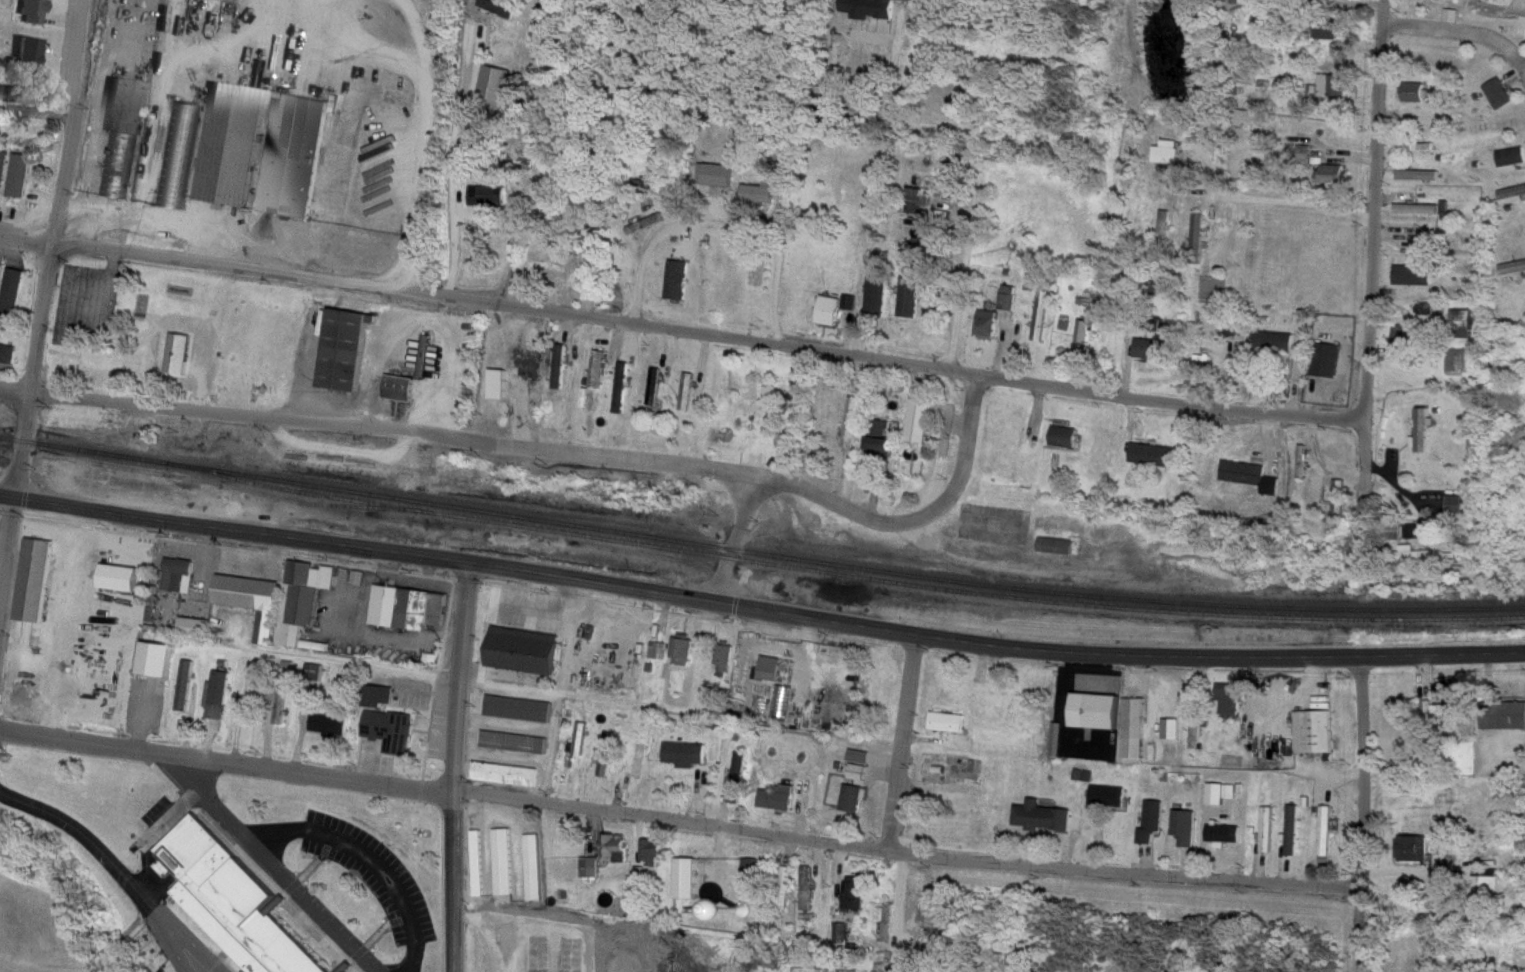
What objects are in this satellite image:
building: (39, 11)
road: (1462, 18)
building: (493, 30)
building: (243, 40)
building: (36, 52)
building: (1334, 85)
building: (835, 86)
building: (1419, 93)
building: (1500, 94)
building: (31, 96)
building: (1203, 122)
building: (124, 135)
road: (978, 145)
building: (1417, 148)
building: (180, 156)
building: (1165, 156)
road: (455, 158)
building: (1510, 158)
road: (1208, 159)
building: (295, 173)
building: (2, 175)
building: (1336, 175)
building: (20, 176)
building: (1420, 176)
road: (1211, 187)
road: (1292, 191)
building: (1511, 193)
building: (757, 194)
building: (486, 196)
building: (918, 202)
road: (162, 204)
building: (1424, 210)
road: (83, 214)
building: (647, 225)
road: (411, 226)
building: (1163, 228)
road: (774, 229)
building: (1198, 235)
building: (1239, 241)
road: (1371, 244)
road: (48, 247)
road: (646, 257)
building: (1512, 268)
building: (555, 273)
building: (1415, 278)
building: (878, 281)
building: (694, 288)
building: (13, 295)
building: (910, 296)
building: (1008, 299)
building: (829, 312)
building: (1041, 316)
building: (245, 318)
road: (683, 318)
park: (164, 320)
building: (1463, 324)
building: (987, 325)
road: (848, 326)
building: (1083, 338)
building: (1410, 338)
building: (1150, 350)
building: (346, 351)
building: (9, 354)
building: (1327, 361)
building: (106, 365)
building: (560, 367)
building: (599, 370)
building: (1301, 371)
road: (15, 379)
building: (654, 387)
building: (400, 388)
building: (501, 391)
building: (686, 393)
building: (774, 413)
road: (393, 421)
building: (824, 421)
building: (920, 421)
building: (850, 422)
road: (966, 427)
building: (1423, 432)
building: (1065, 437)
building: (883, 439)
road: (32, 444)
building: (1154, 455)
building: (1199, 458)
building: (1304, 462)
building: (1024, 474)
building: (155, 487)
road: (850, 496)
building: (1457, 505)
building: (1396, 531)
road: (736, 532)
railway: (760, 540)
building: (1059, 547)
road: (7, 549)
road: (366, 553)
building: (1416, 555)
railway: (862, 564)
building: (182, 576)
building: (38, 581)
building: (282, 602)
road: (759, 608)
building: (409, 609)
building: (196, 628)
building: (519, 638)
building: (656, 651)
building: (682, 652)
building: (518, 653)
building: (725, 657)
building: (884, 660)
building: (158, 661)
building: (772, 669)
road: (458, 672)
road: (435, 677)
building: (186, 686)
building: (997, 693)
building: (220, 696)
building: (252, 696)
building: (281, 700)
building: (782, 702)
building: (1440, 702)
building: (1236, 703)
building: (520, 709)
building: (1503, 716)
building: (390, 717)
building: (1115, 720)
building: (948, 723)
building: (330, 725)
building: (1173, 730)
building: (1196, 730)
road: (85, 732)
building: (1316, 733)
road: (902, 736)
building: (581, 739)
building: (515, 742)
building: (606, 755)
building: (687, 755)
building: (638, 762)
road: (312, 764)
road: (1361, 766)
road: (309, 773)
building: (508, 775)
building: (1223, 794)
building: (853, 796)
building: (782, 797)
building: (1109, 797)
building: (1043, 818)
building: (1153, 821)
road: (323, 825)
building: (1188, 829)
building: (1270, 831)
building: (1327, 832)
building: (1226, 834)
road: (82, 837)
road: (906, 839)
building: (617, 850)
road: (269, 863)
building: (504, 863)
road: (304, 865)
building: (534, 868)
building: (590, 868)
road: (453, 878)
building: (690, 880)
building: (809, 891)
building: (234, 892)
building: (856, 896)
road: (318, 900)
flagpole: (307, 925)
road: (1359, 925)
road: (367, 929)
road: (184, 938)
road: (162, 939)
building: (1416, 951)
road: (83, 953)

